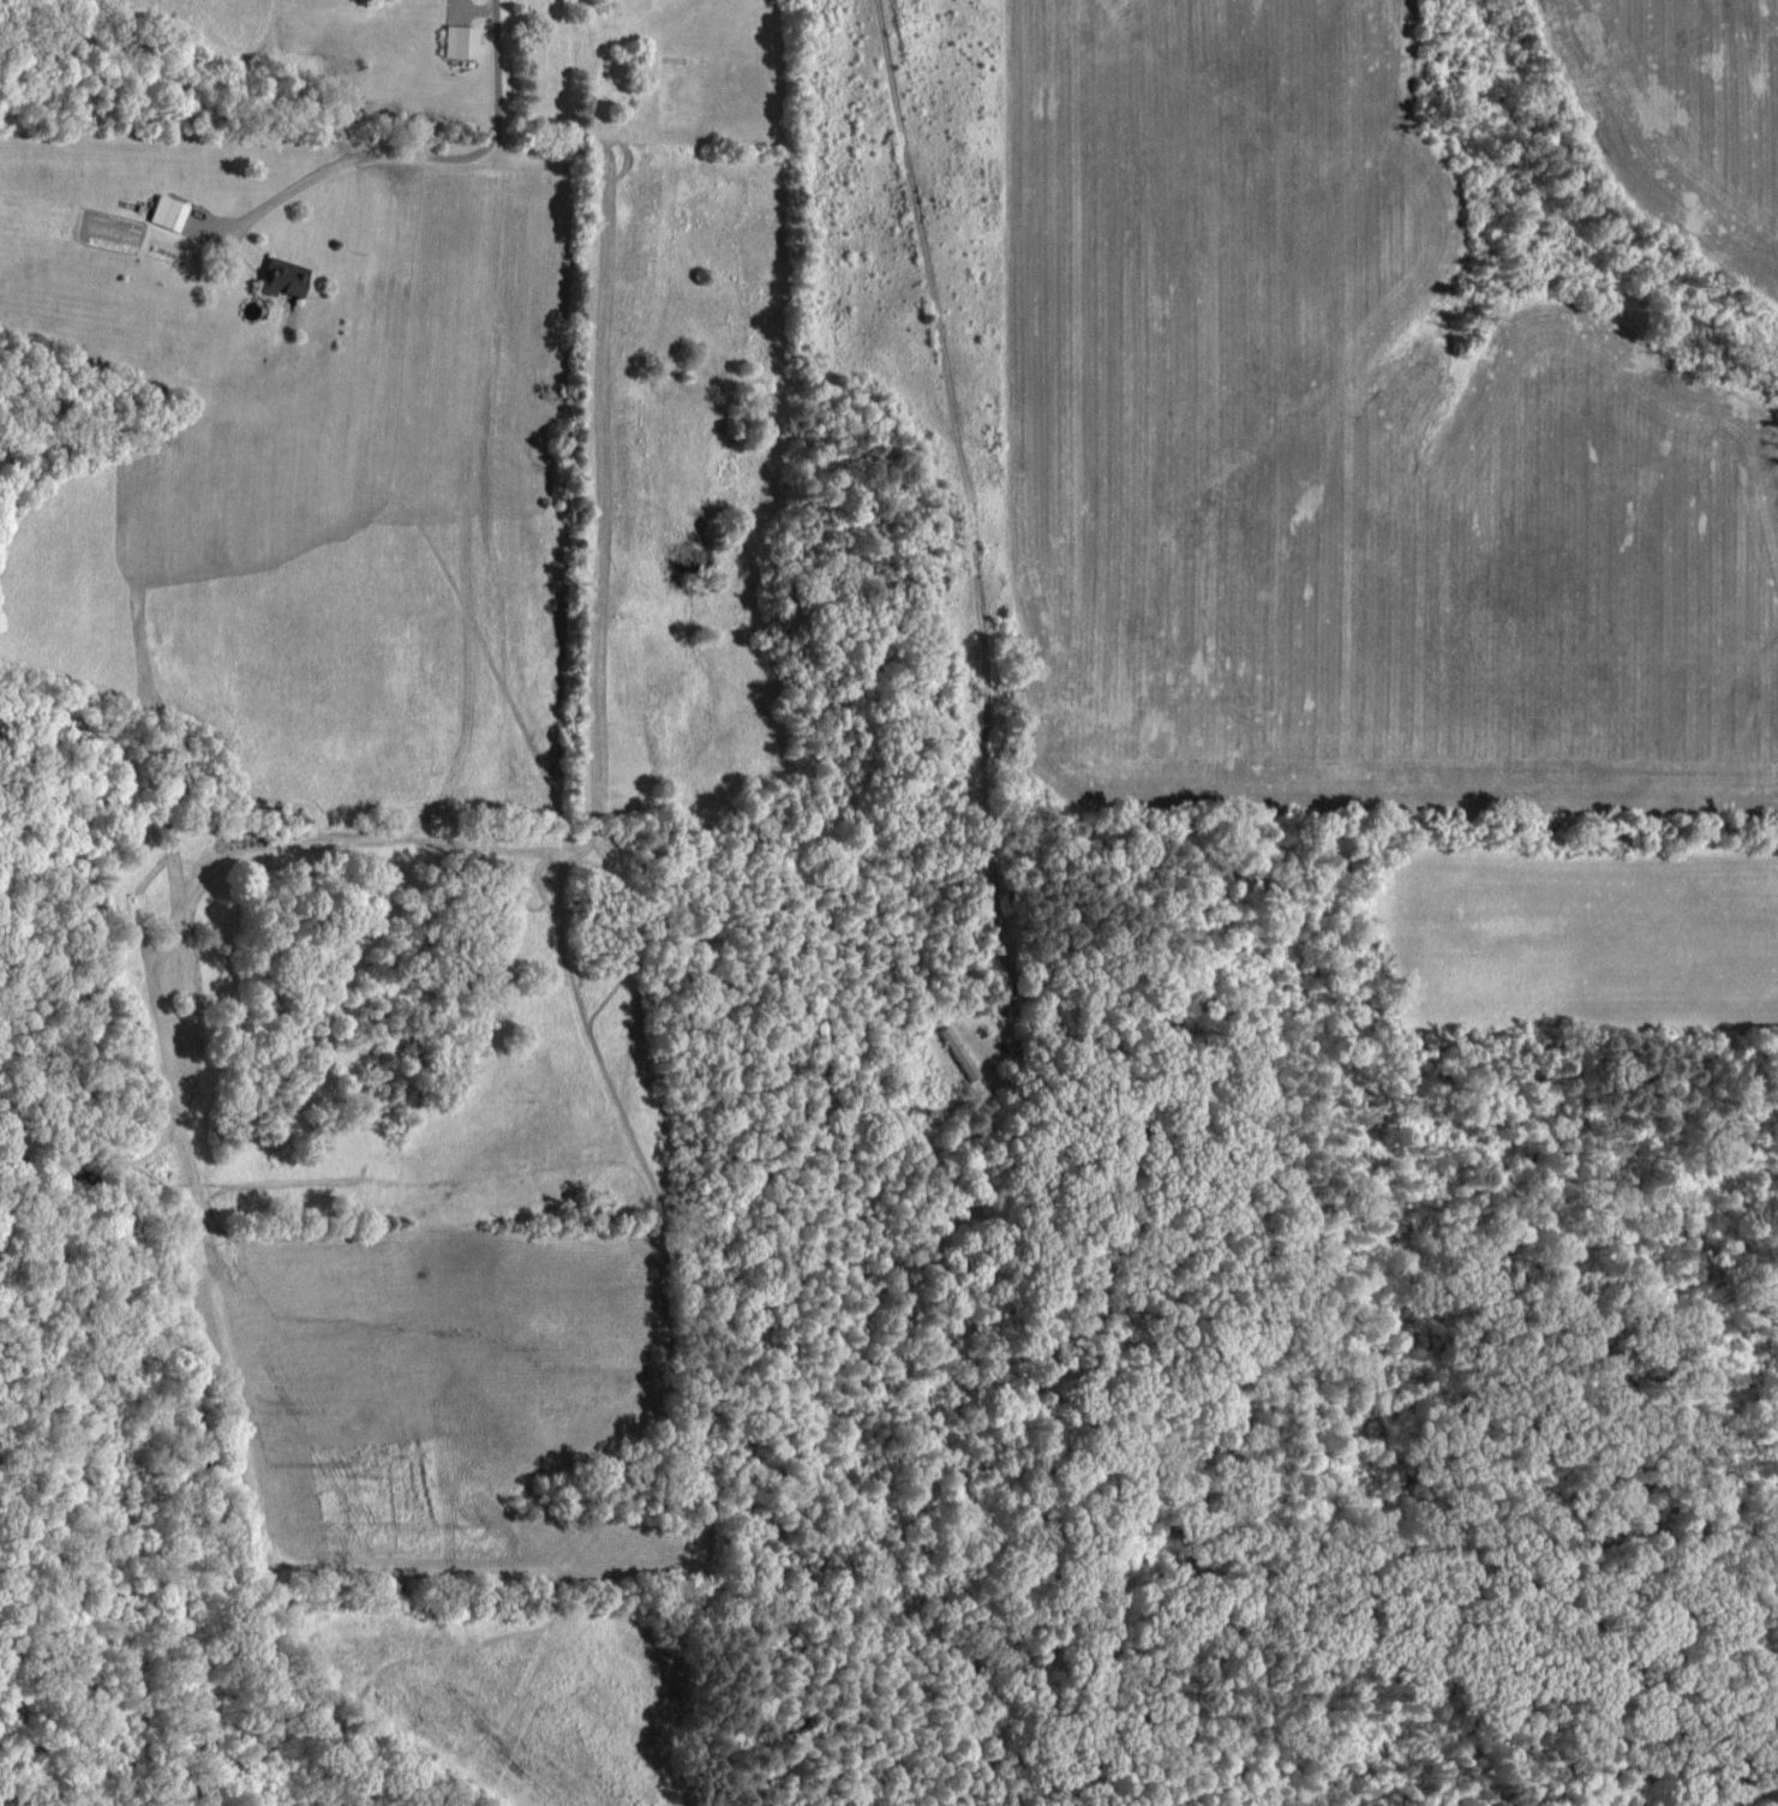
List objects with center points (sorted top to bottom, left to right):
building: (456, 38)
building: (164, 210)
building: (279, 275)
road: (969, 489)

